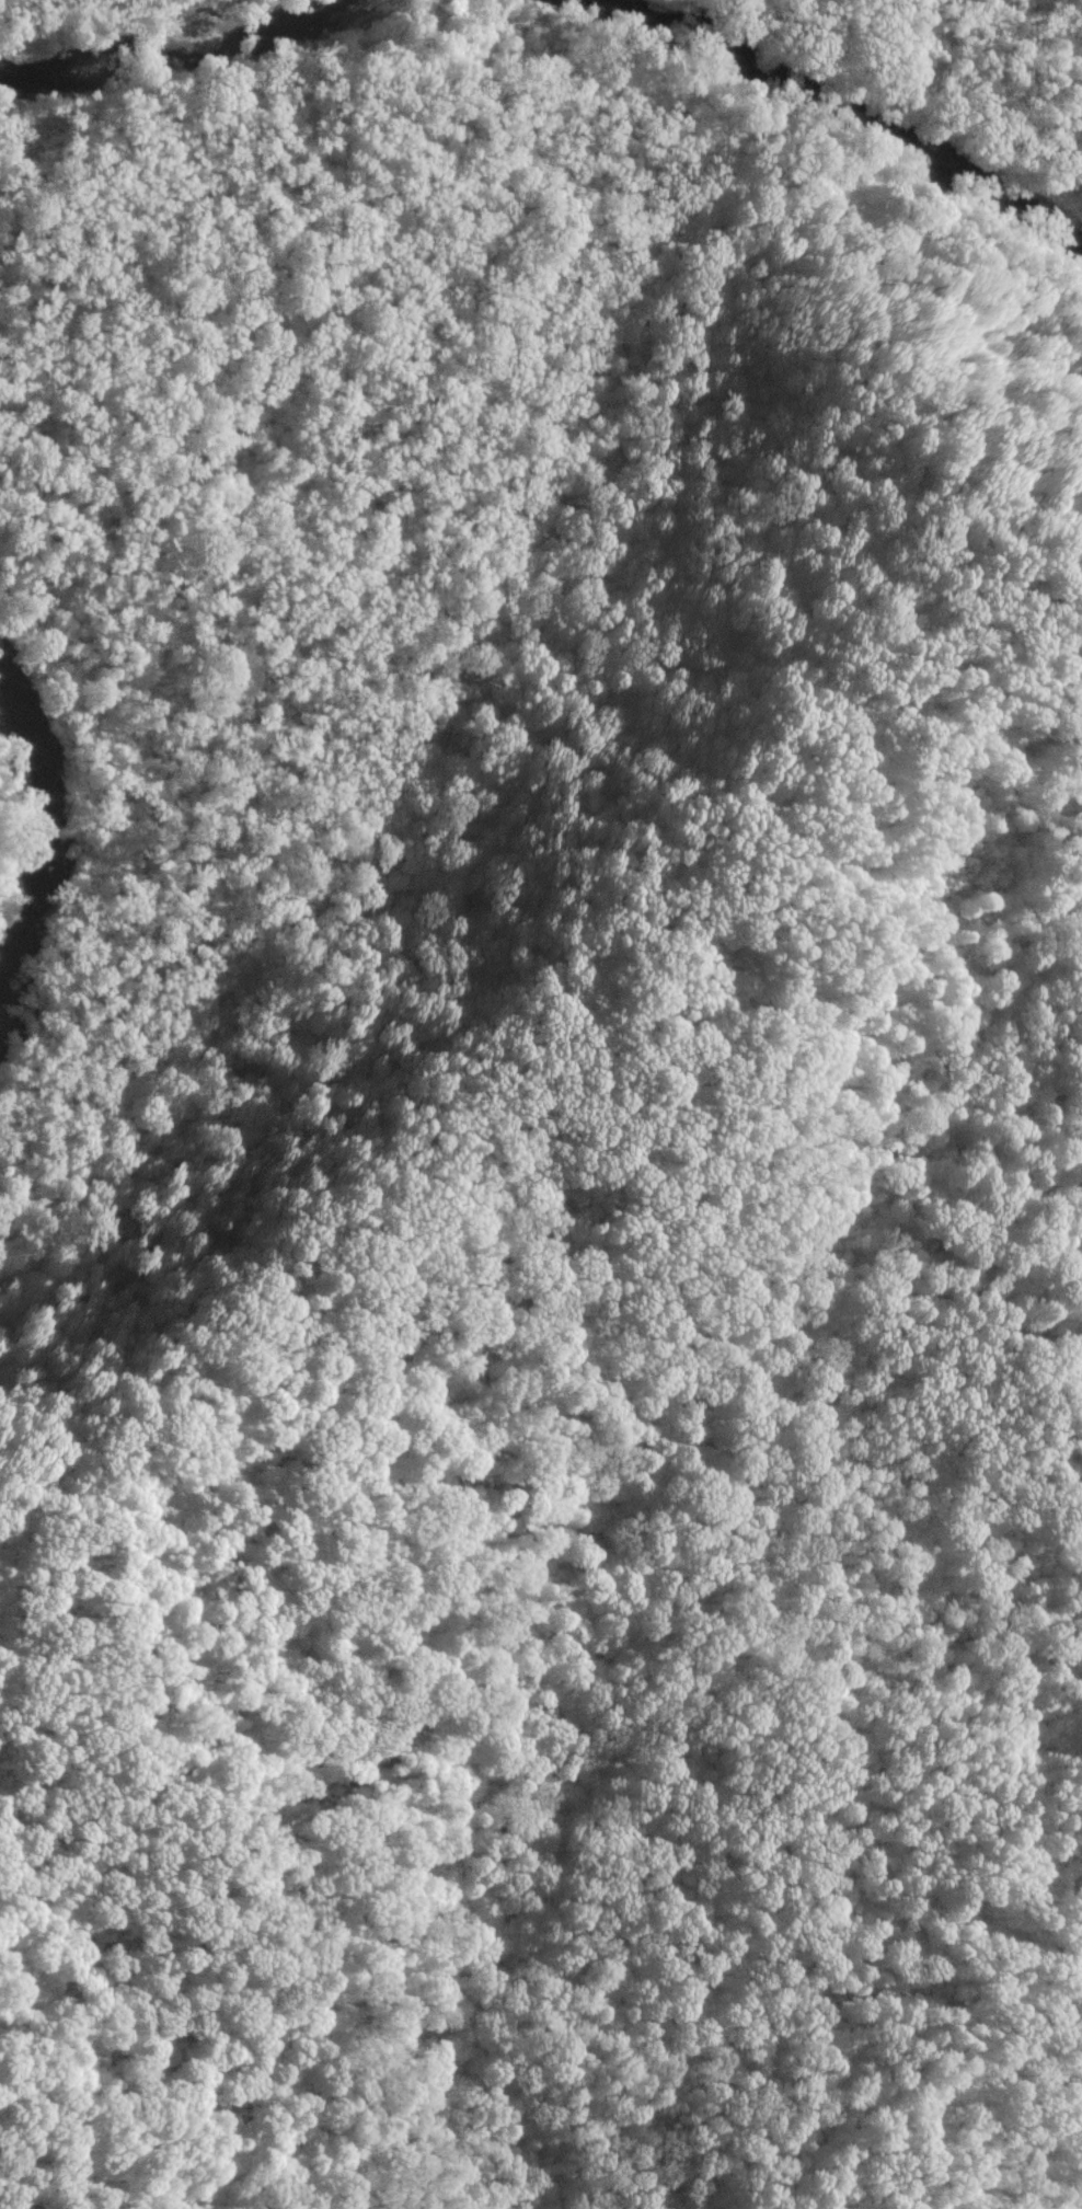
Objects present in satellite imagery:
river: (174, 48)
road: (897, 90)
river: (841, 105)
river: (58, 817)
road: (381, 1149)

